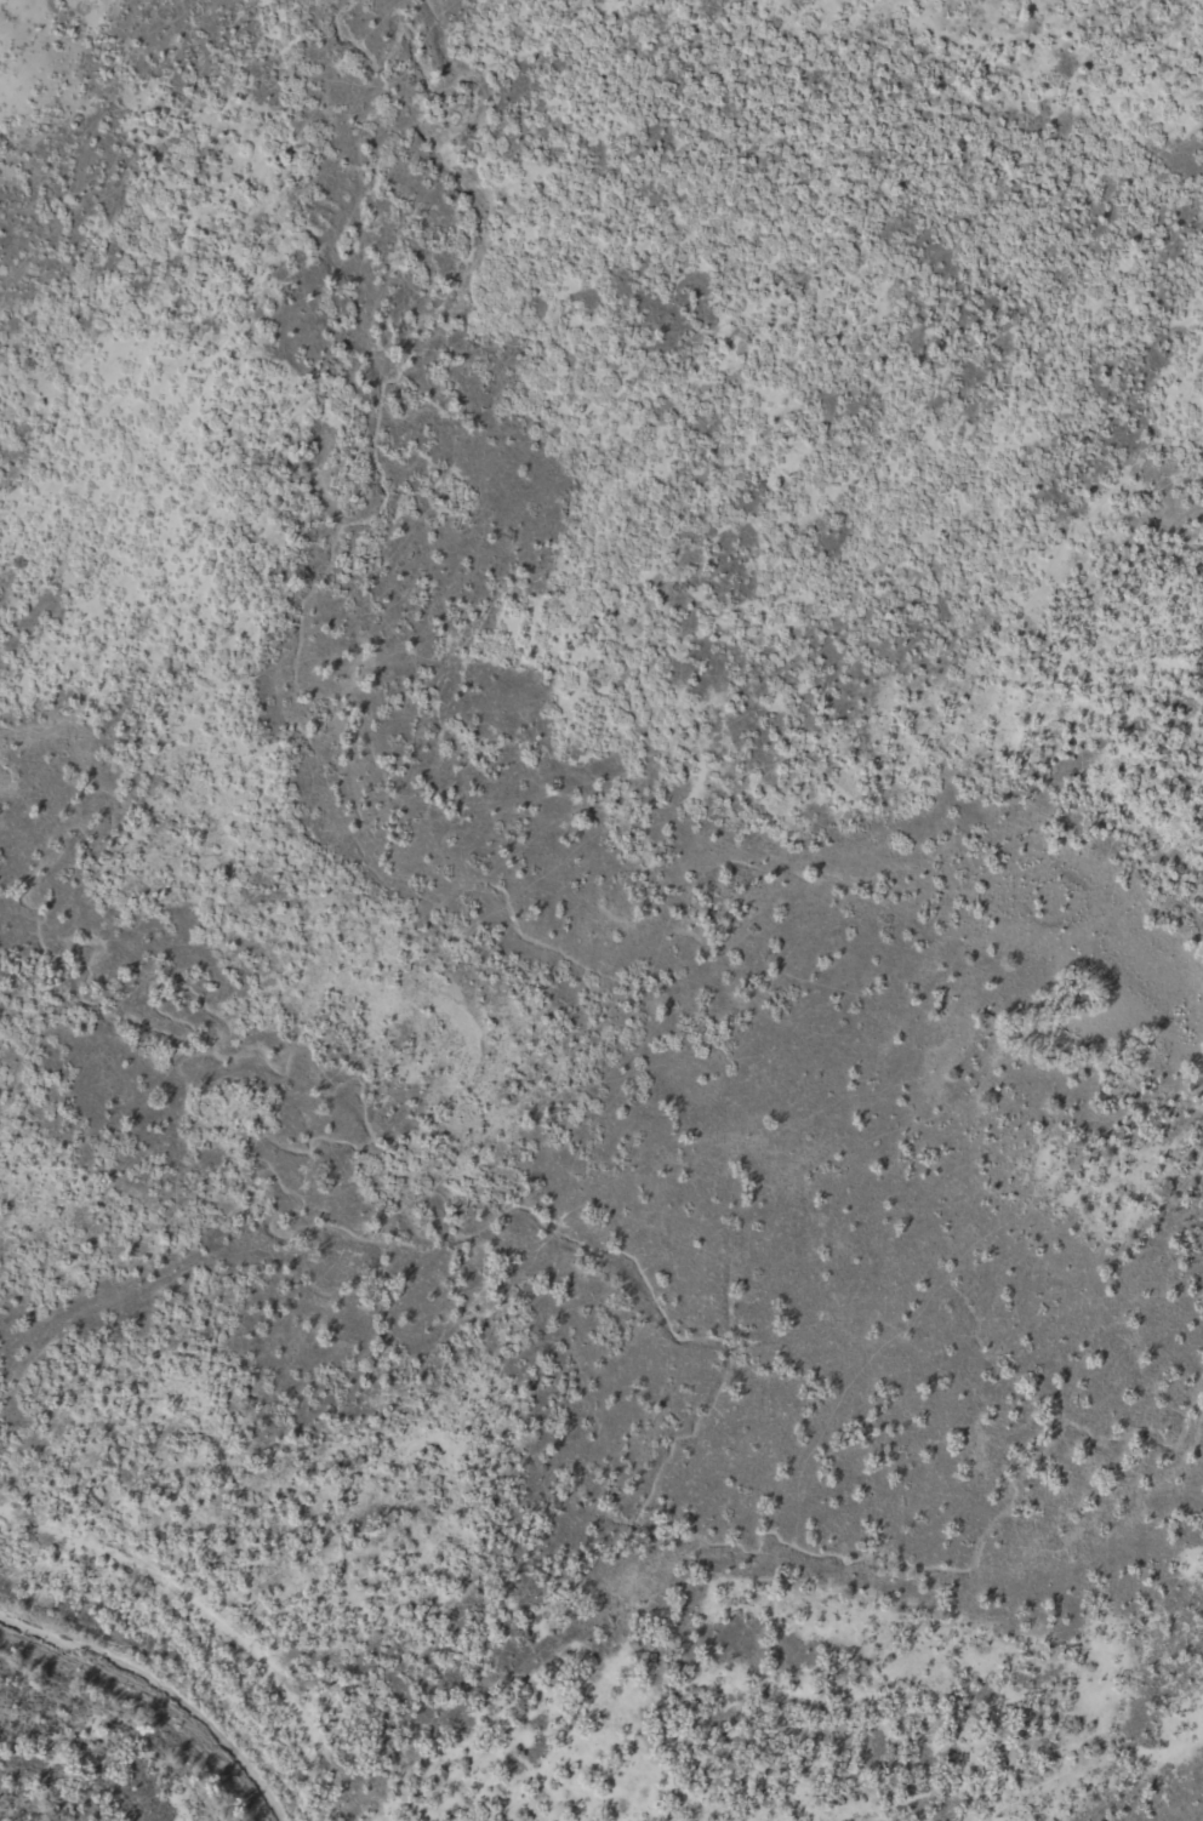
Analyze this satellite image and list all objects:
road: (215, 1614)
river: (148, 1700)

